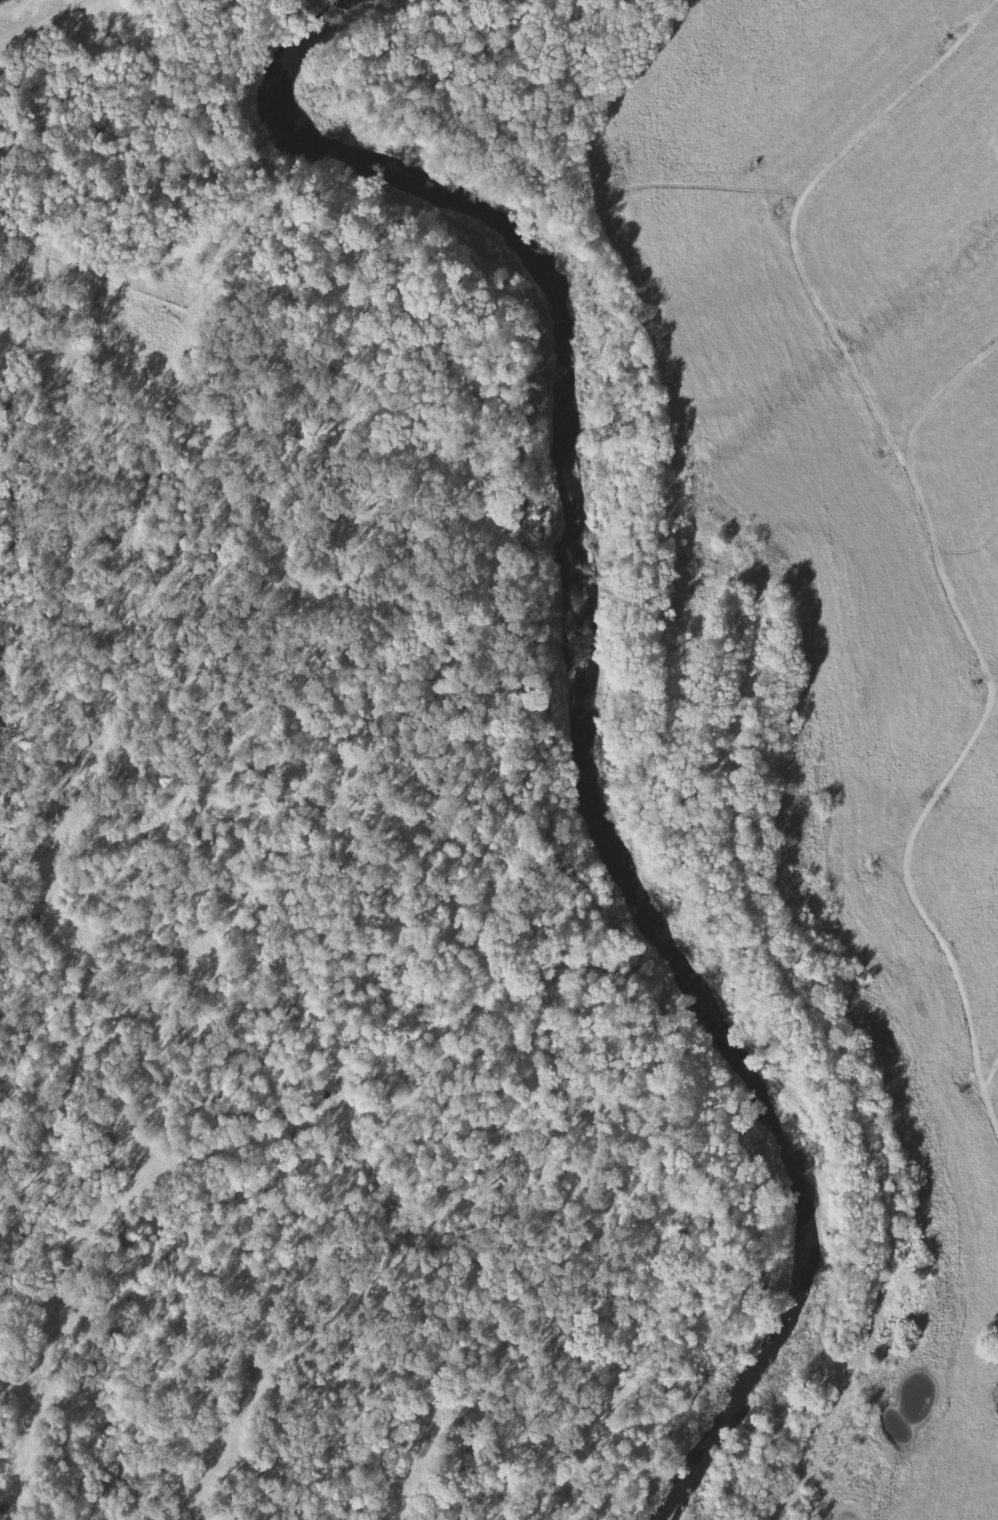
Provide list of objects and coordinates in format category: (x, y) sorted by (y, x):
road: (42, 20)
river: (587, 718)

